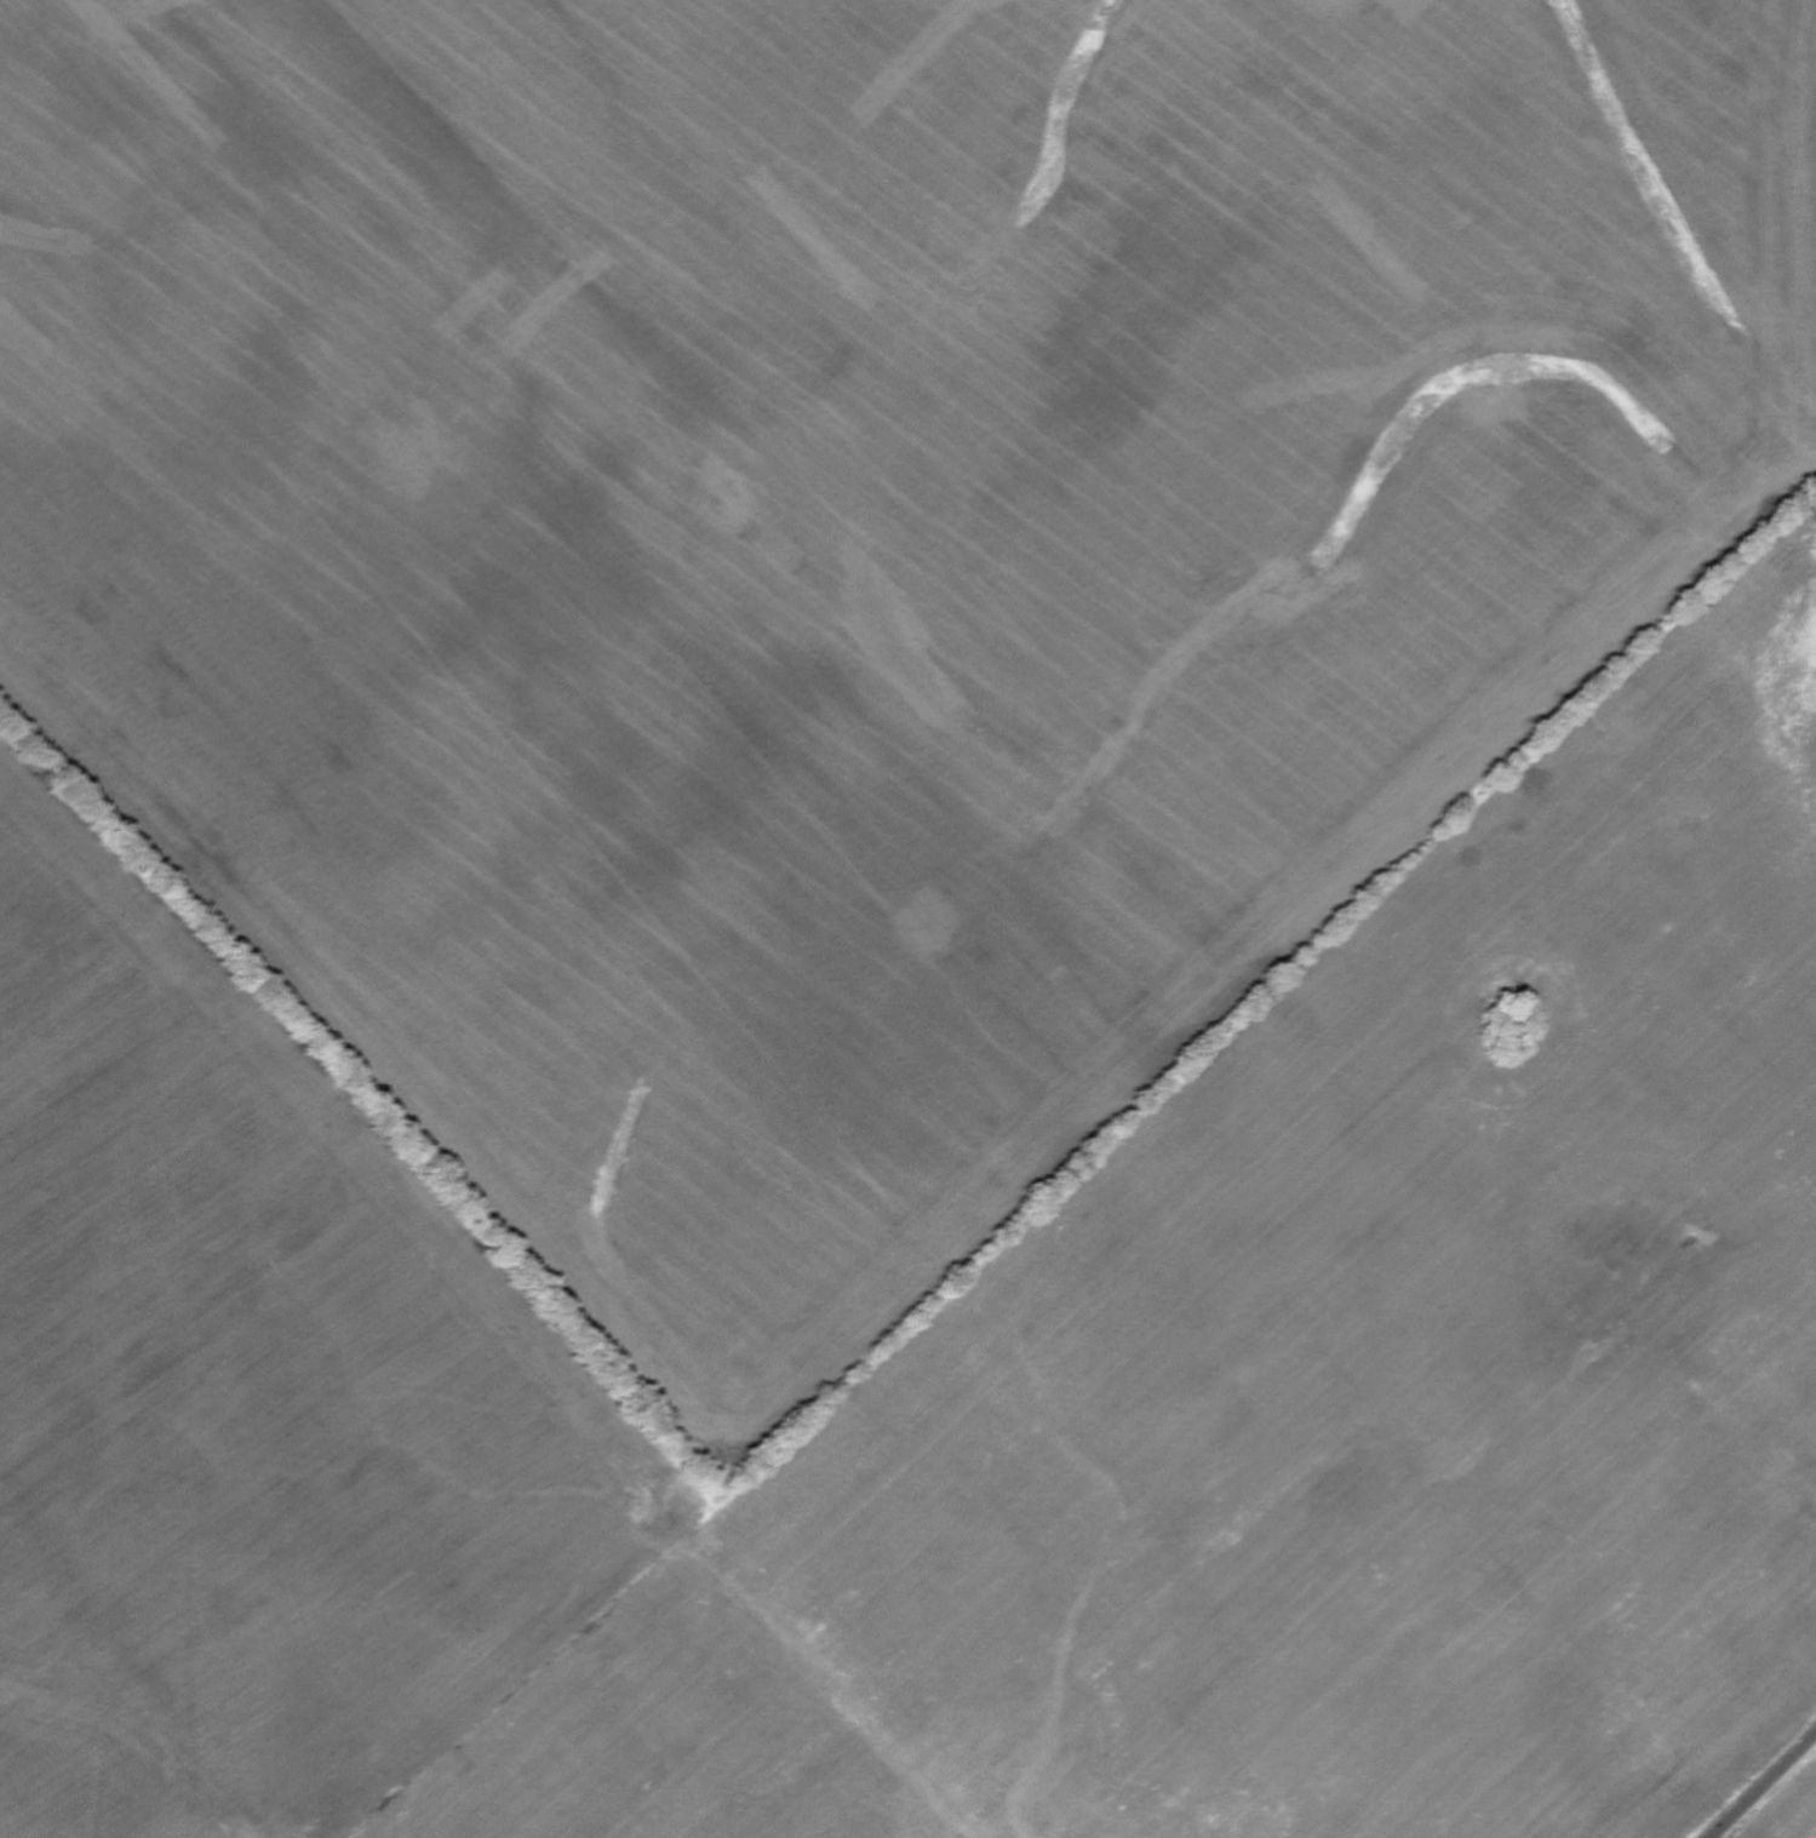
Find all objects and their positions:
road: (1763, 1787)

